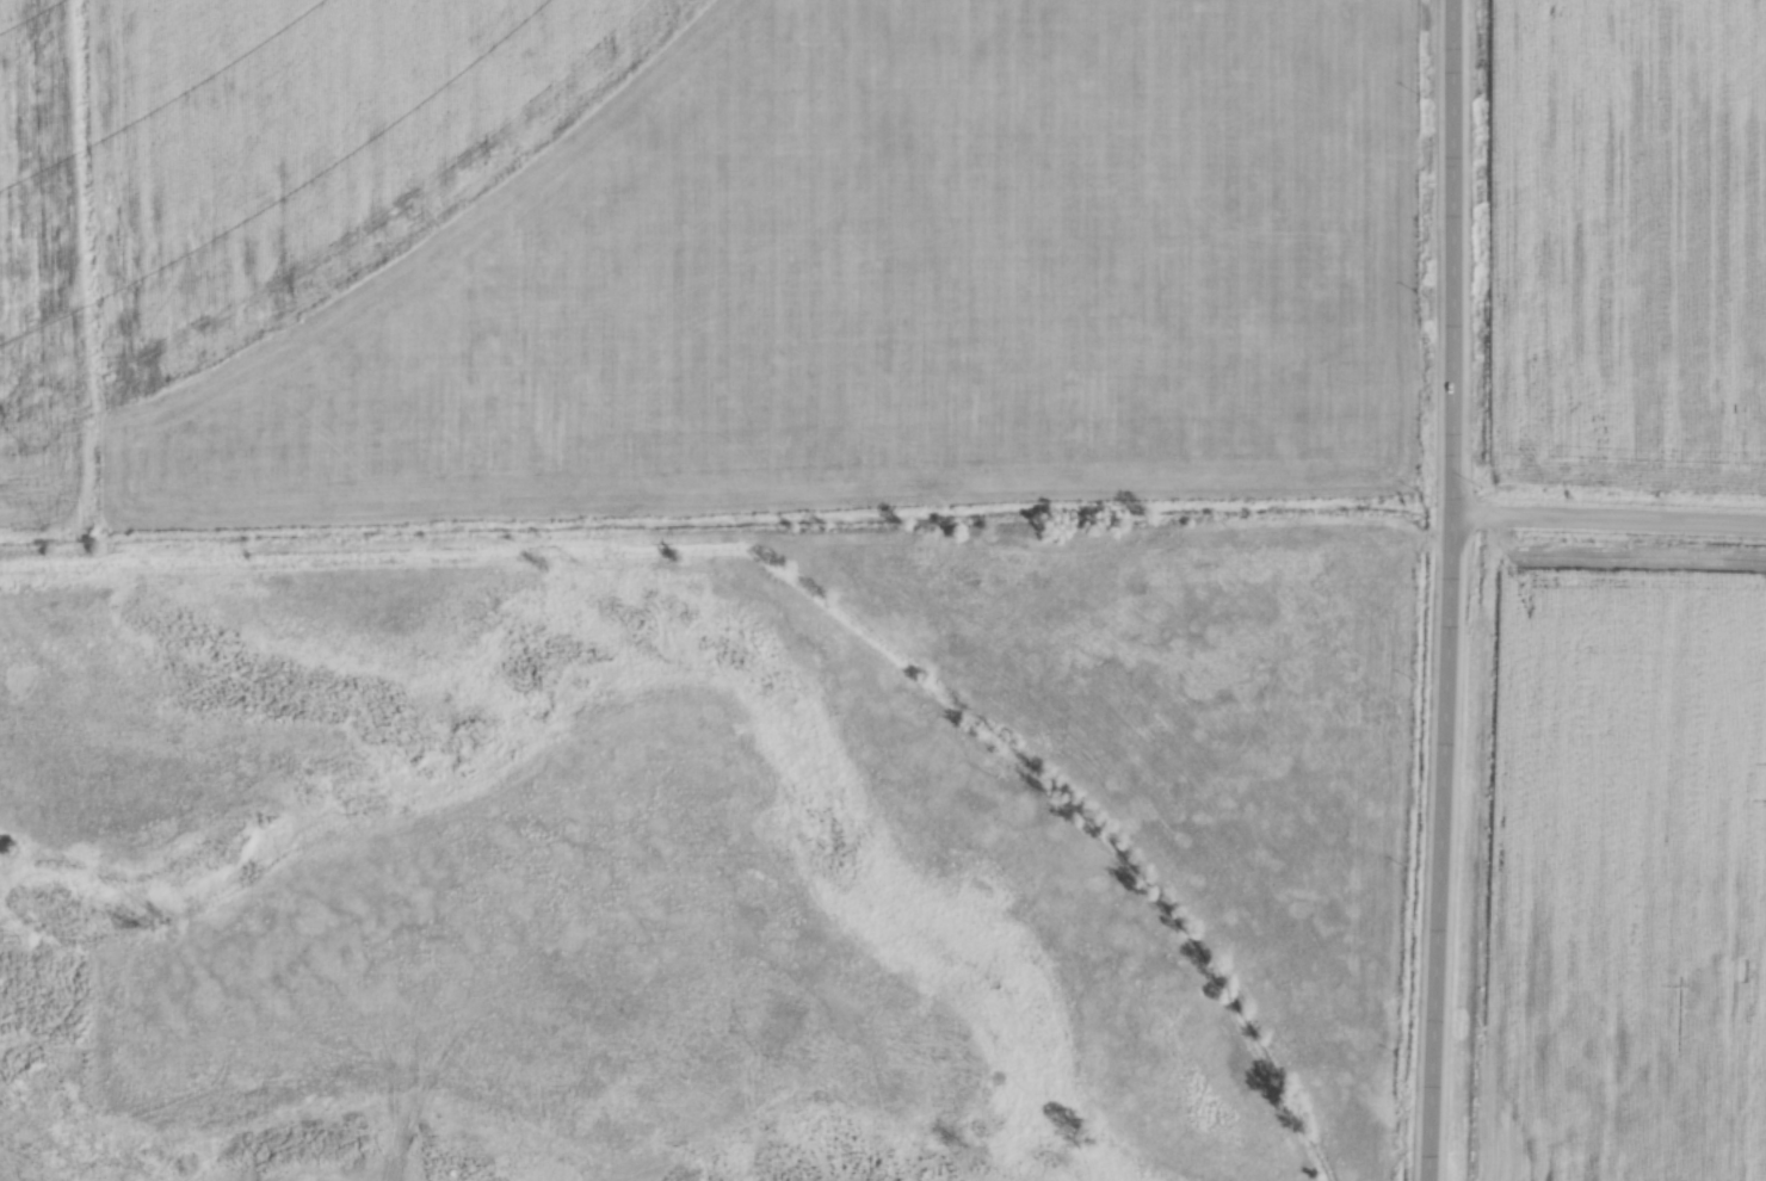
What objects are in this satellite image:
road: (1610, 518)
road: (1450, 590)
crop: (1625, 871)

